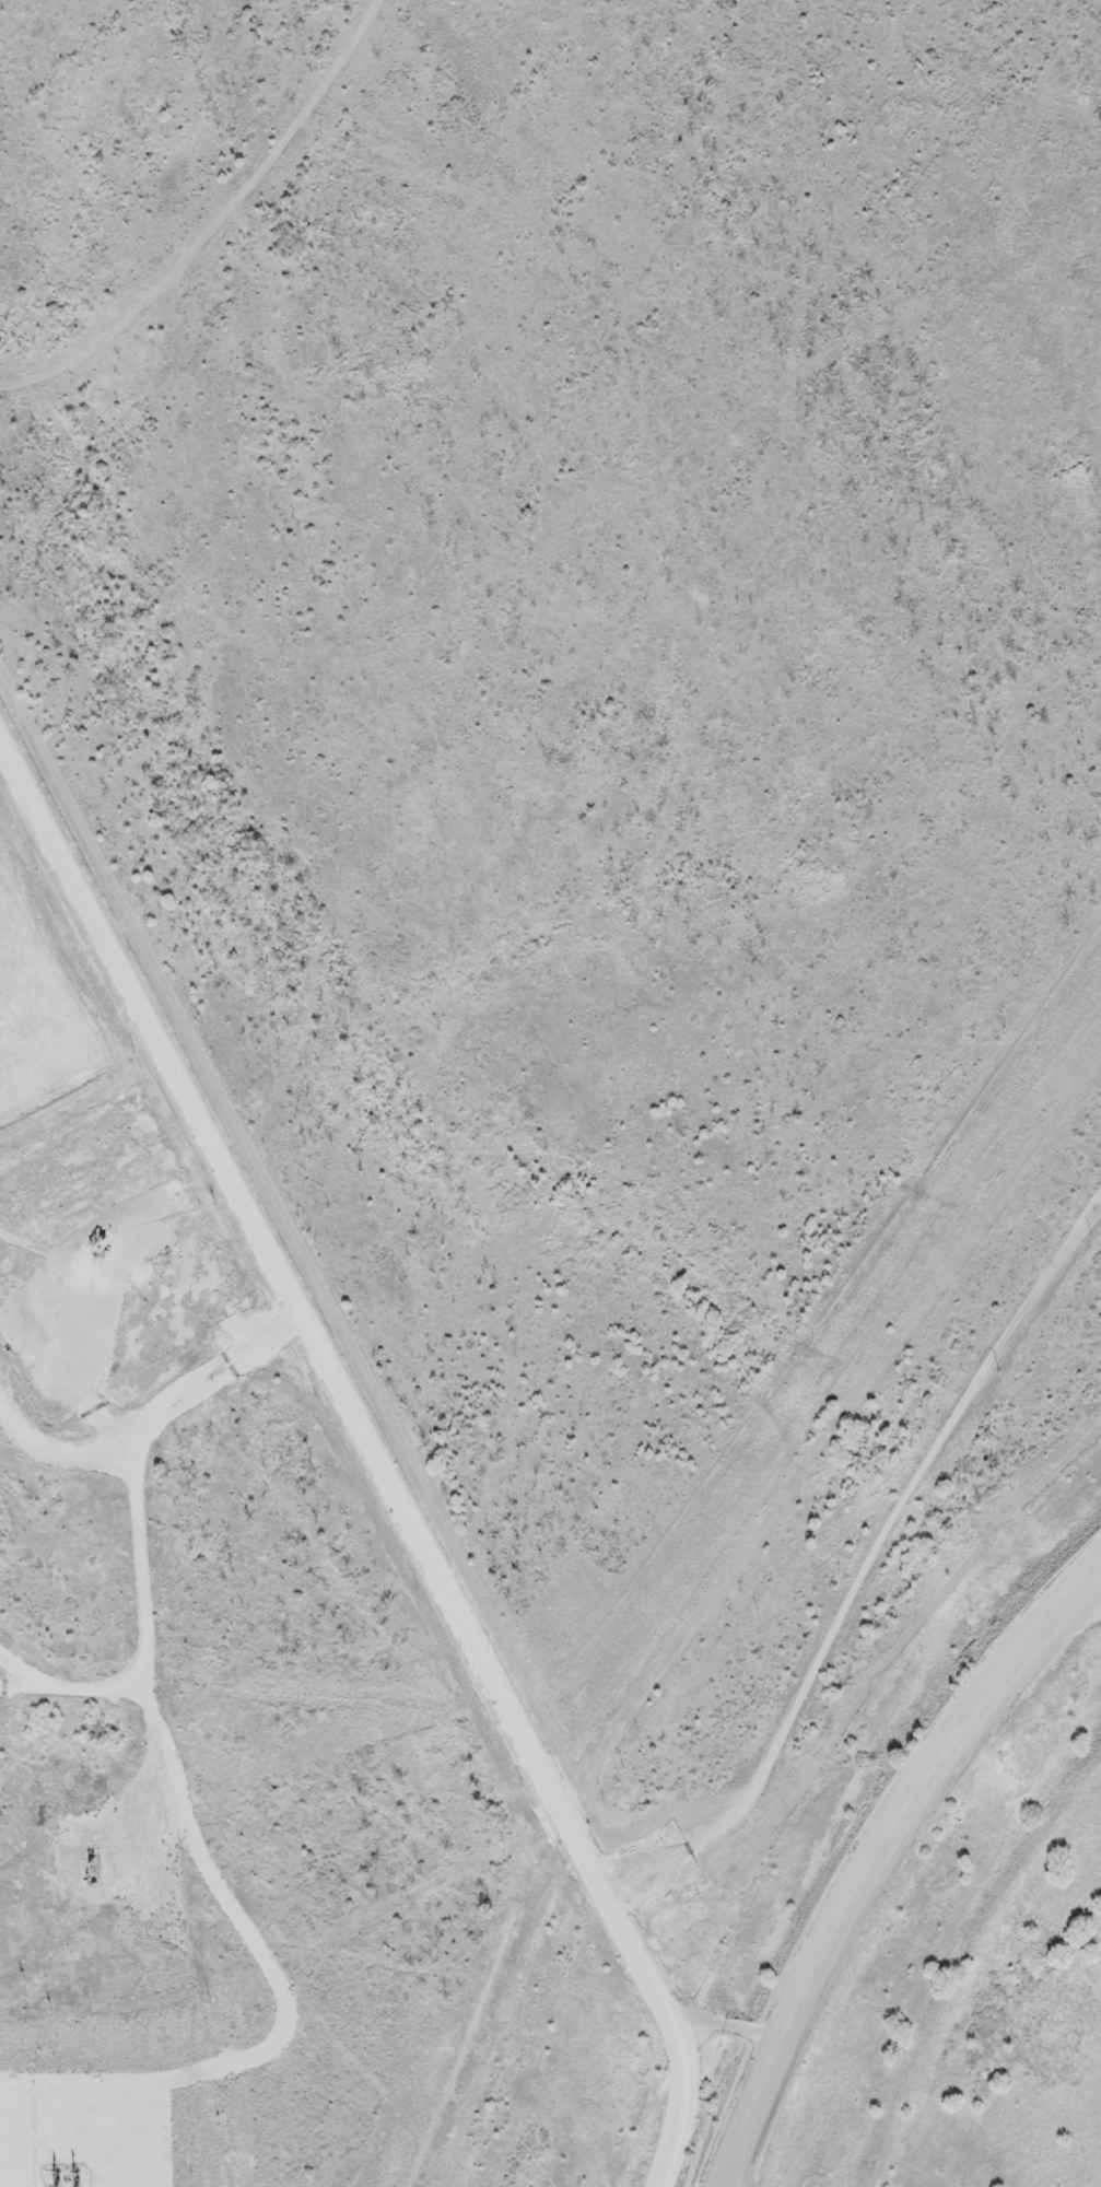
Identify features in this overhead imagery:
road: (373, 1460)
road: (136, 1523)
road: (868, 1568)
road: (13, 1691)
road: (140, 1816)
road: (883, 1856)
quarry: (926, 1920)
road: (204, 1996)
road: (724, 2024)

